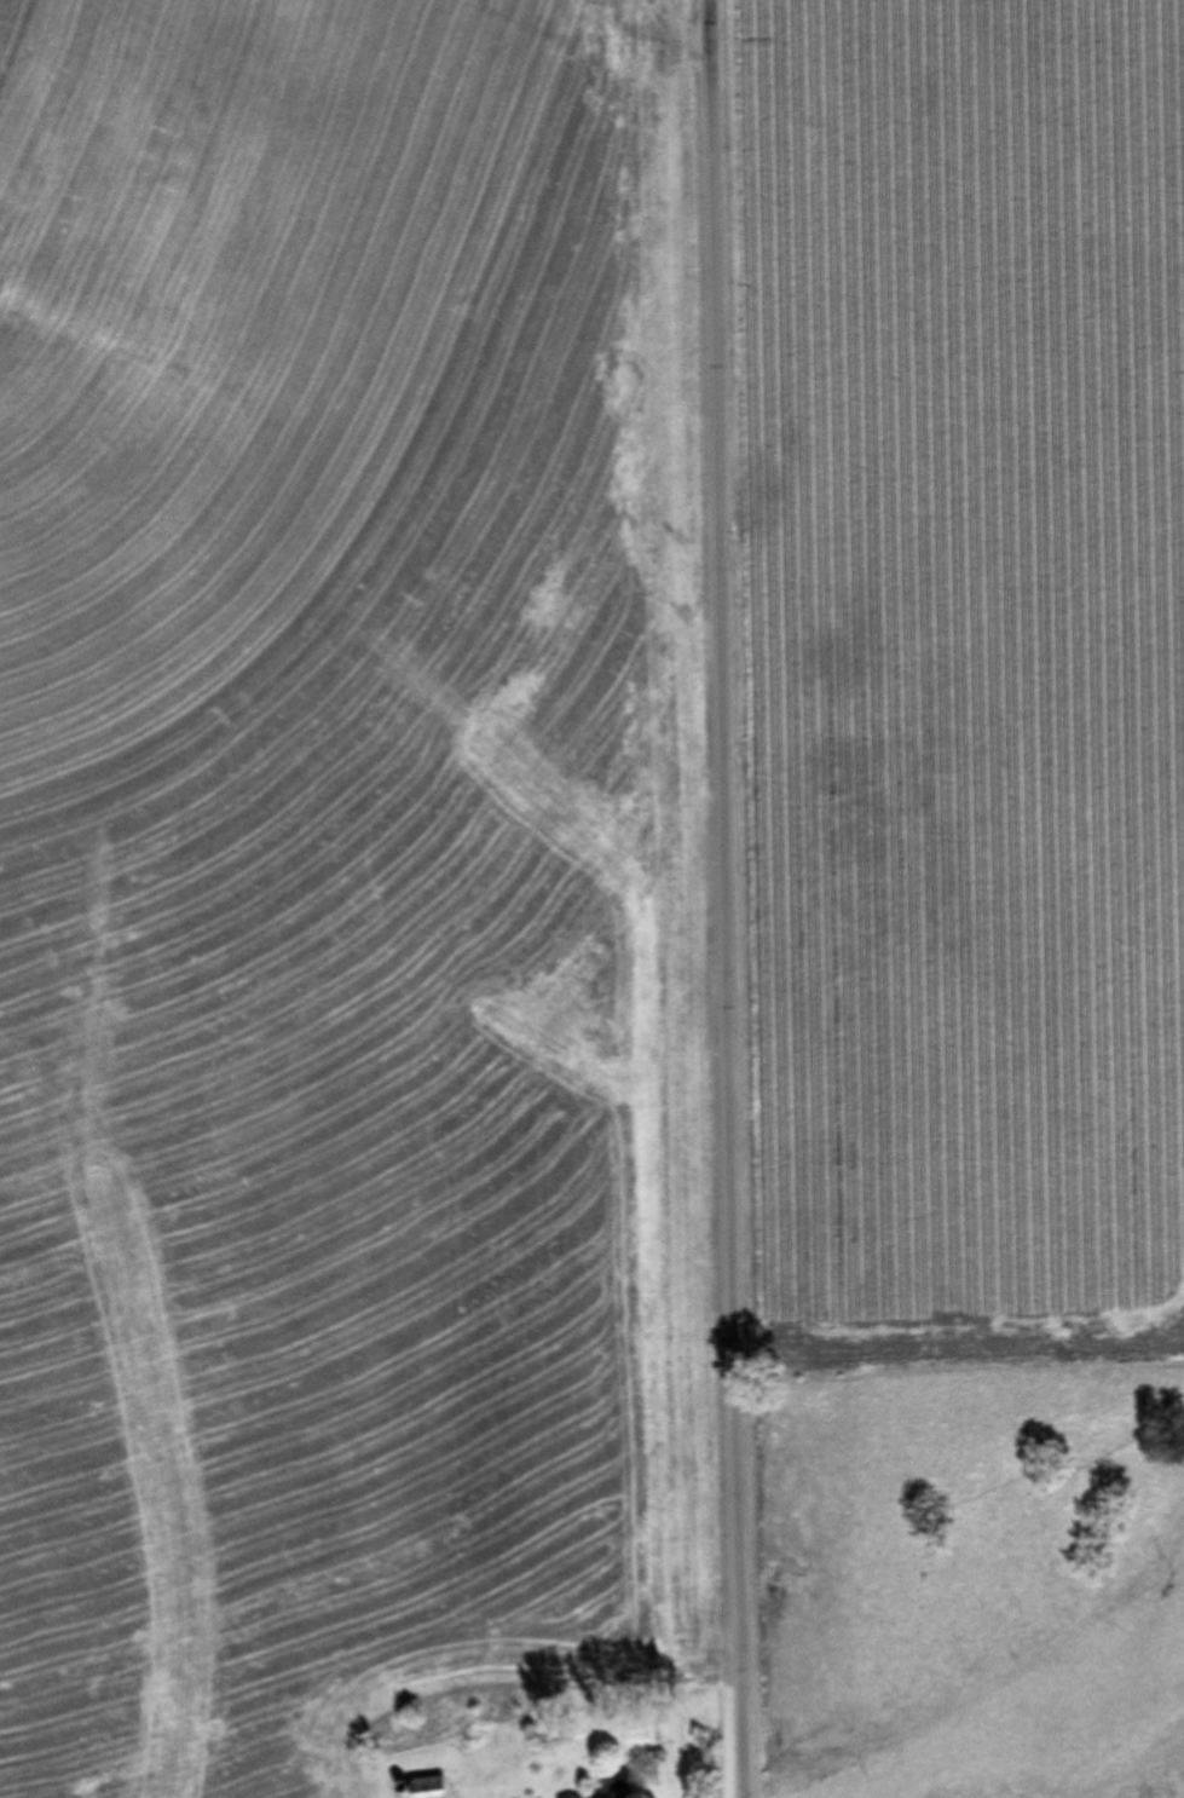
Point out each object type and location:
road: (732, 898)
building: (423, 1788)
building: (610, 1791)
building: (571, 1797)

